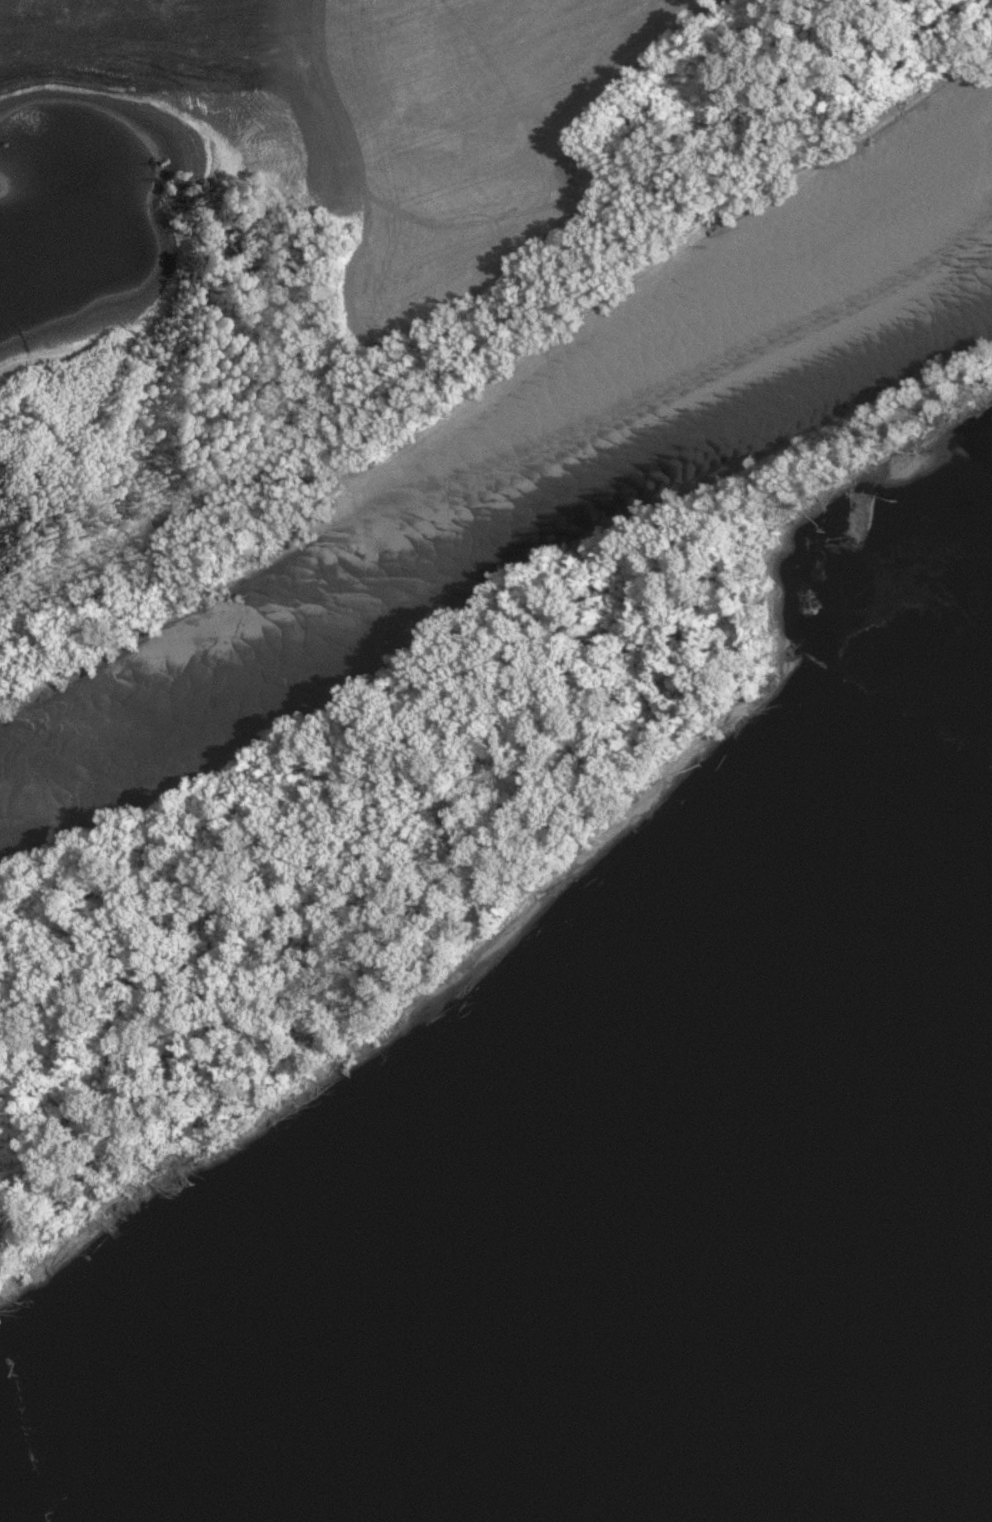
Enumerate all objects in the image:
river: (915, 1447)

